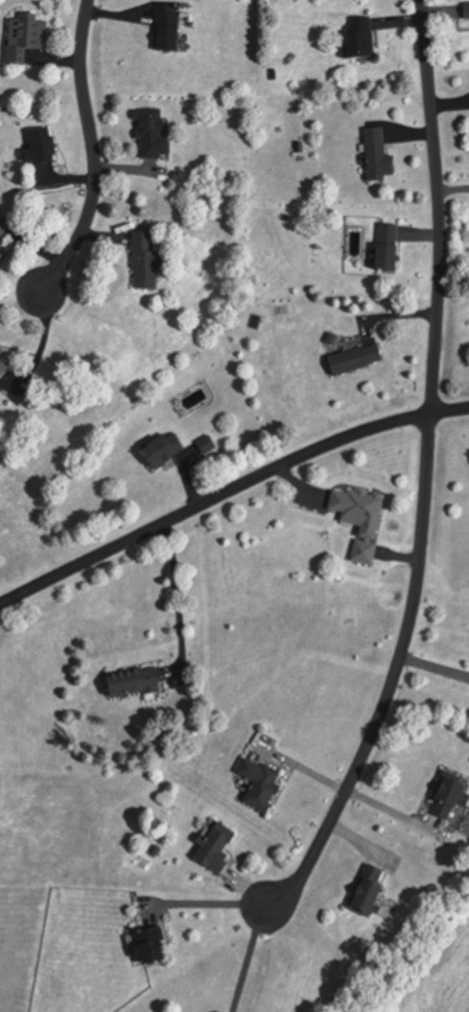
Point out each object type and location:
building: (462, 11)
building: (160, 32)
building: (18, 38)
building: (350, 38)
building: (146, 133)
building: (33, 147)
building: (370, 156)
road: (88, 158)
road: (435, 204)
building: (0, 224)
building: (379, 249)
building: (138, 259)
building: (348, 358)
building: (0, 364)
building: (199, 444)
building: (154, 448)
road: (229, 487)
building: (353, 518)
road: (180, 601)
road: (433, 667)
road: (393, 675)
building: (124, 682)
building: (252, 782)
building: (438, 796)
road: (391, 811)
building: (208, 847)
building: (359, 888)
road: (206, 899)
building: (140, 943)
road: (248, 958)

